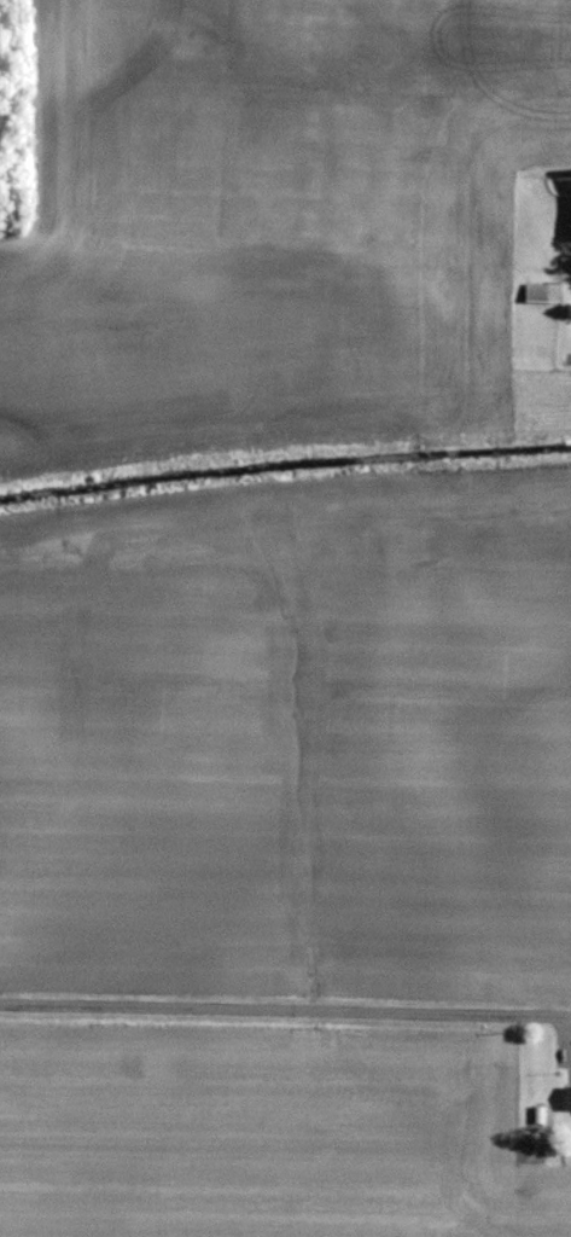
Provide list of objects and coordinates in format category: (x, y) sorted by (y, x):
road: (285, 1012)

